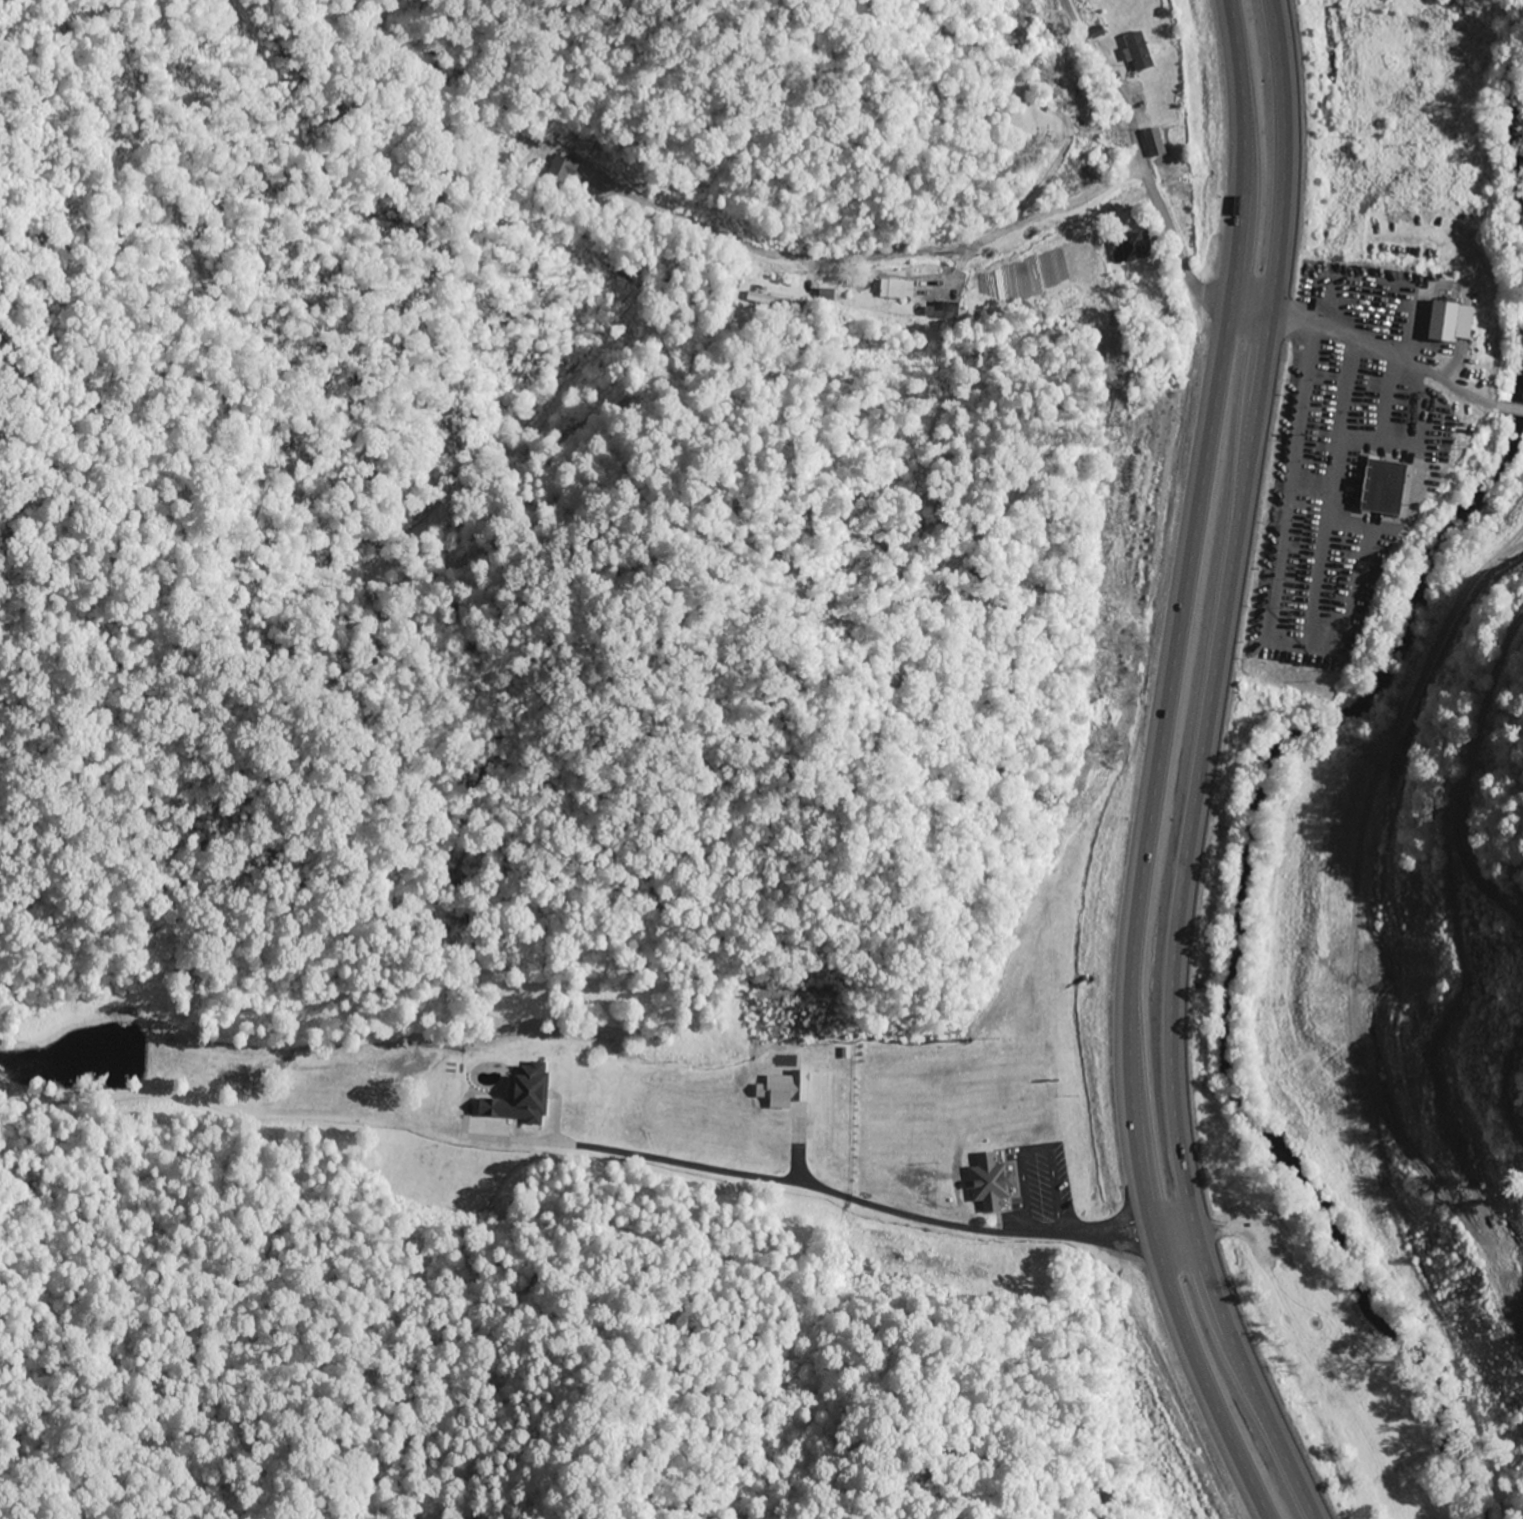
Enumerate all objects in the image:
building: (1139, 52)
building: (1153, 143)
building: (1132, 248)
building: (895, 289)
road: (1415, 317)
road: (1198, 769)
road: (1153, 771)
building: (783, 1090)
building: (519, 1097)
building: (987, 1184)

